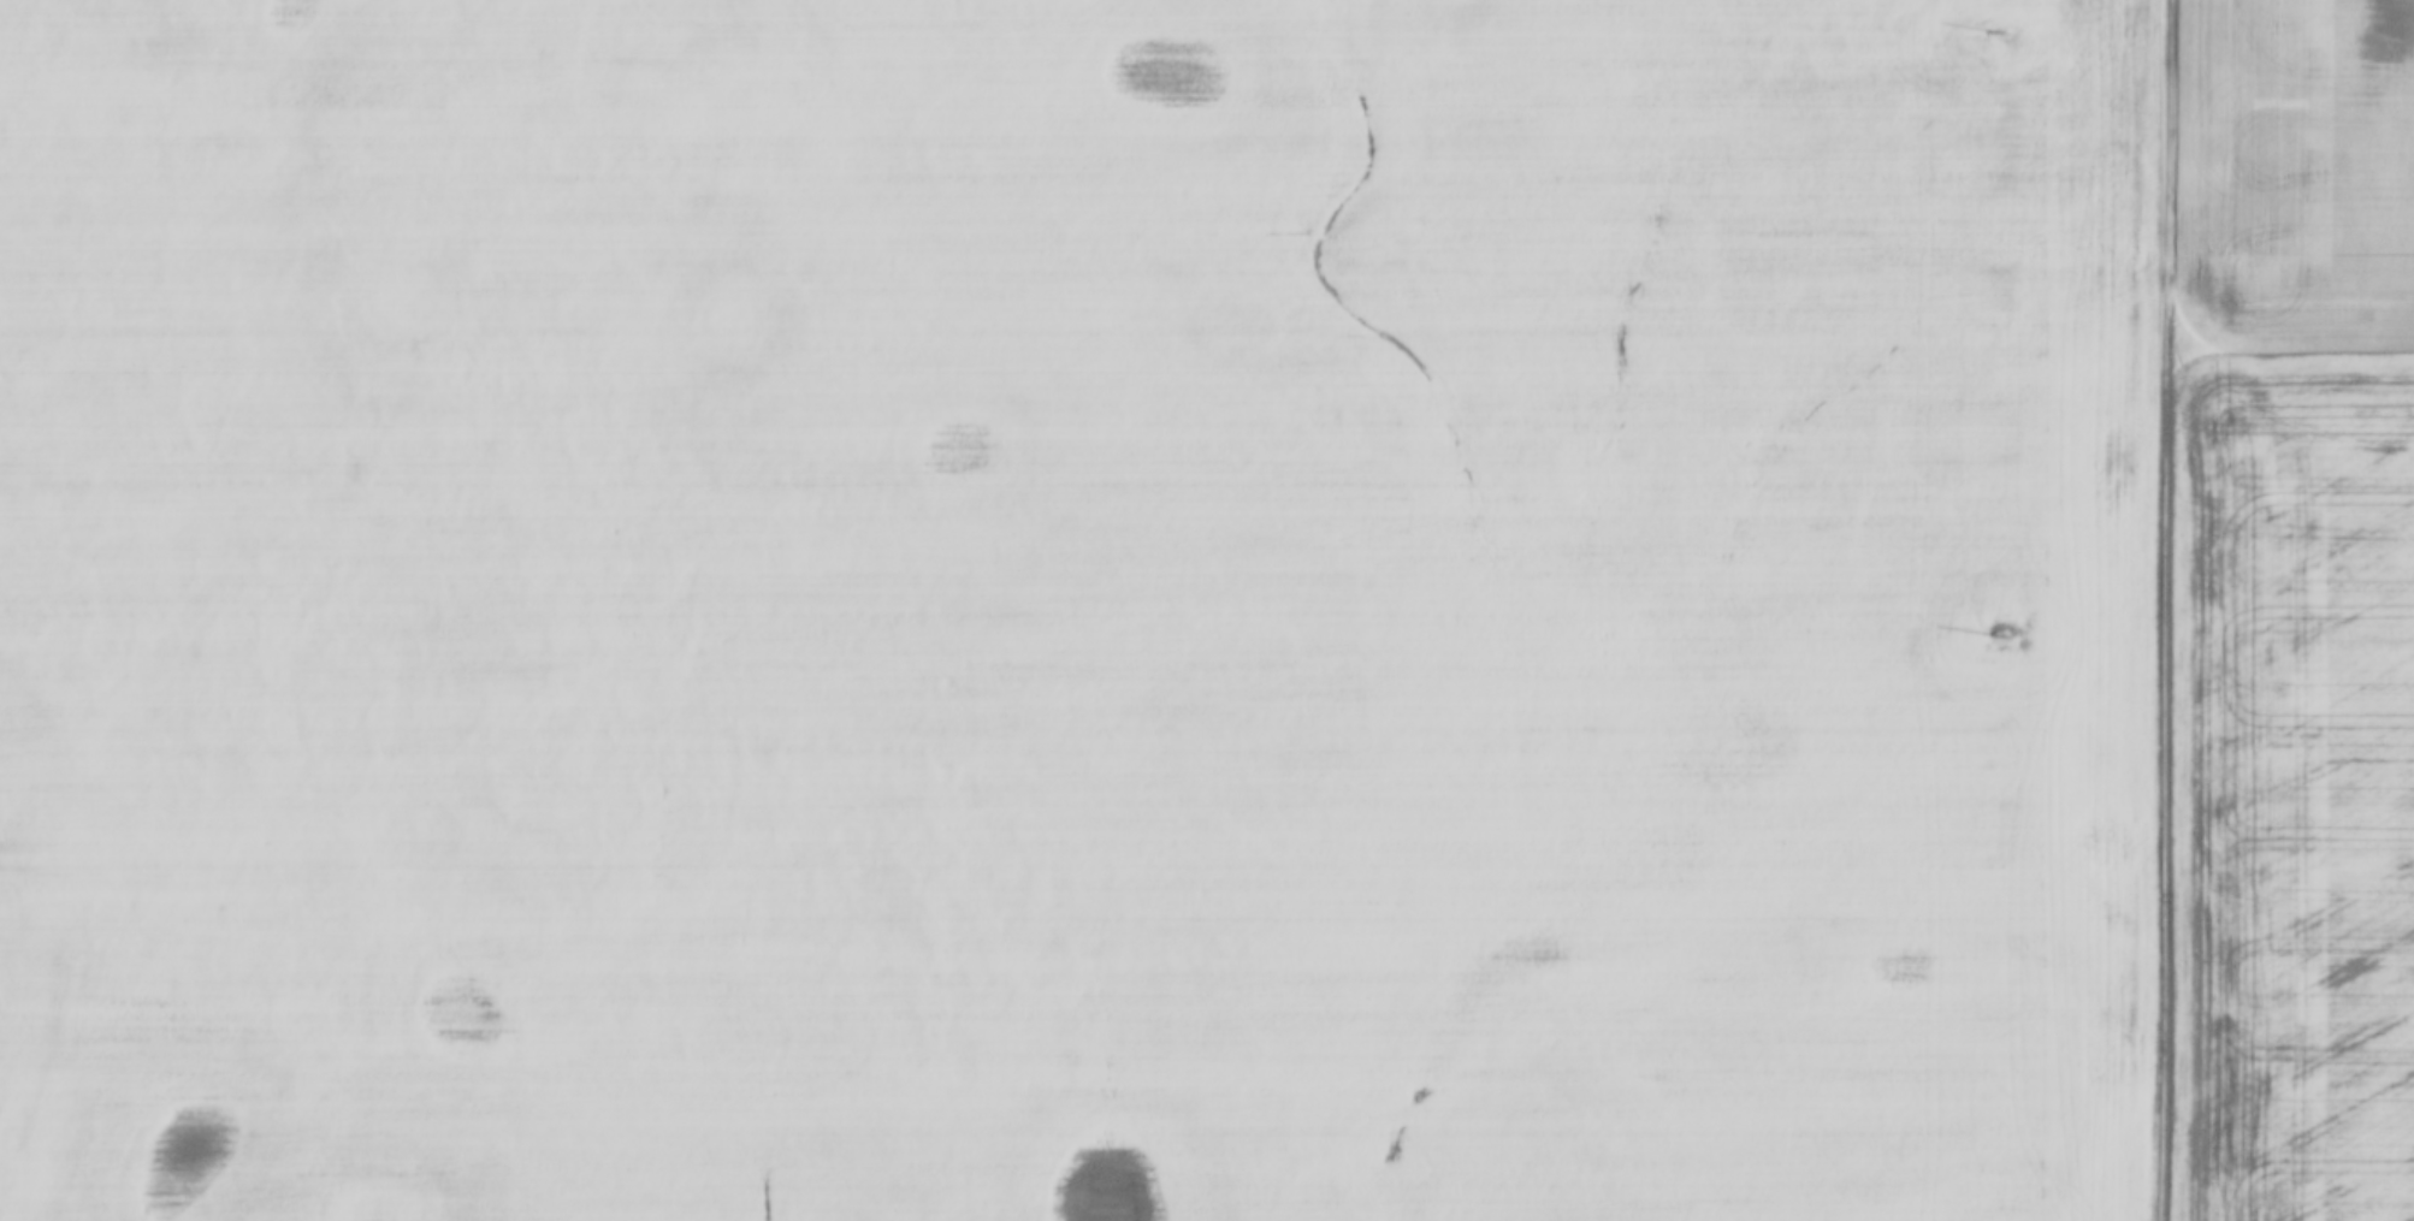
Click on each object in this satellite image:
road: (2165, 502)

